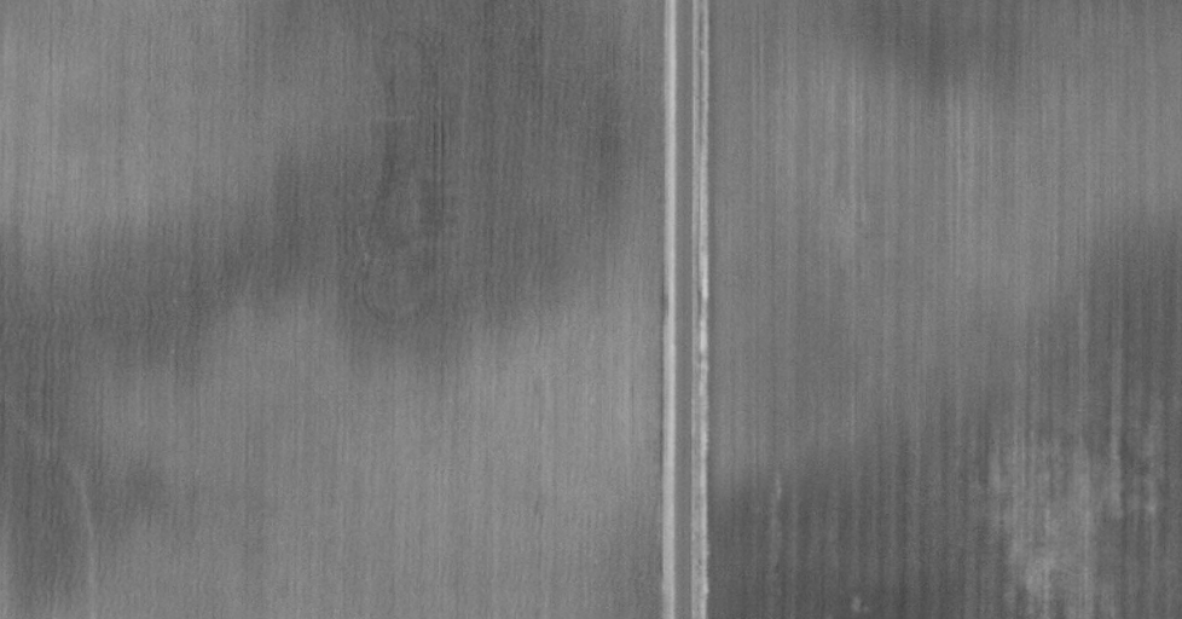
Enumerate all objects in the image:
road: (666, 308)

